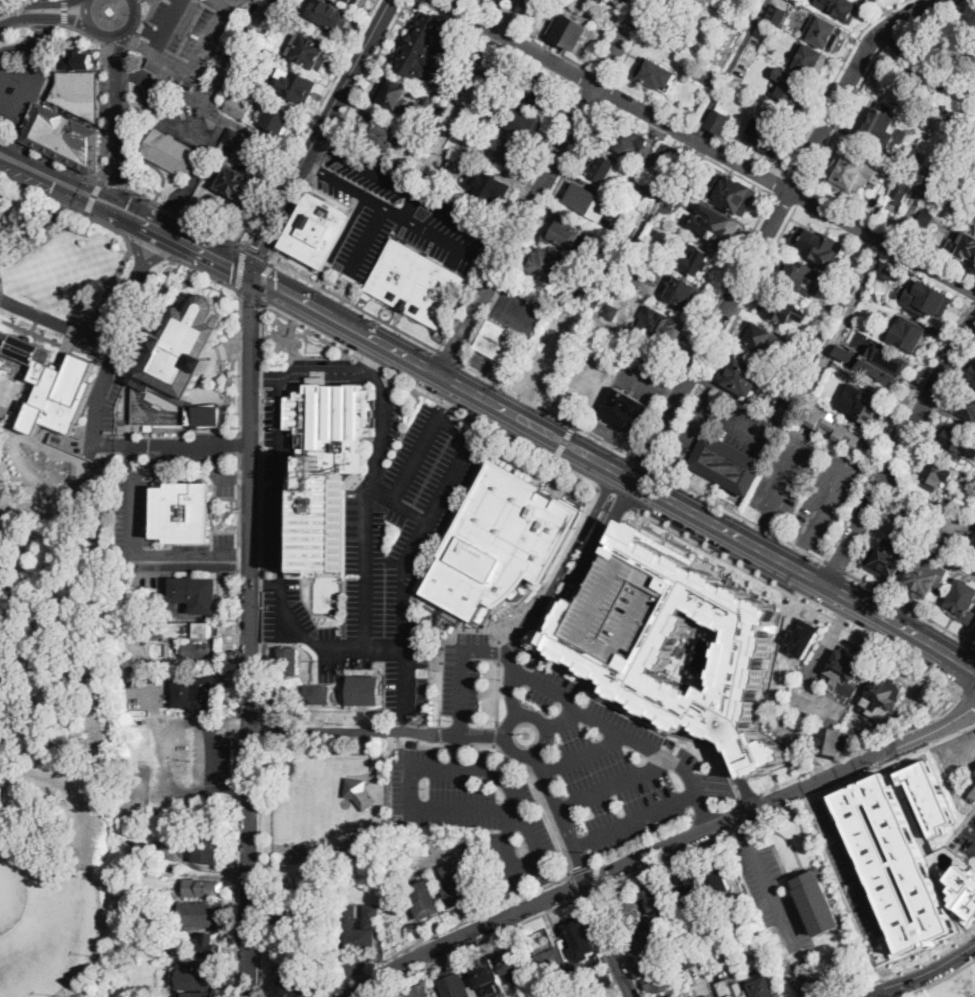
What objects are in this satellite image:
road: (1, 0)
road: (228, 0)
building: (603, 0)
building: (708, 0)
building: (355, 1)
building: (504, 1)
building: (599, 1)
building: (758, 1)
building: (878, 1)
road: (43, 2)
road: (153, 2)
building: (527, 3)
road: (39, 4)
building: (280, 6)
building: (840, 9)
road: (151, 10)
road: (65, 12)
building: (328, 14)
road: (507, 16)
road: (43, 17)
building: (773, 19)
road: (43, 25)
road: (15, 26)
road: (141, 27)
road: (147, 30)
building: (825, 31)
building: (571, 32)
building: (763, 32)
park: (909, 32)
road: (43, 33)
road: (608, 33)
road: (920, 34)
road: (88, 35)
road: (110, 36)
road: (633, 40)
park: (956, 44)
road: (119, 47)
building: (426, 47)
road: (19, 52)
building: (311, 53)
building: (751, 54)
road: (236, 55)
road: (127, 56)
road: (116, 57)
building: (78, 60)
building: (812, 61)
road: (183, 66)
road: (729, 69)
road: (866, 69)
road: (919, 70)
building: (248, 71)
road: (129, 73)
building: (656, 74)
building: (498, 75)
building: (704, 75)
road: (584, 77)
parking lot: (24, 79)
road: (832, 80)
building: (294, 86)
building: (792, 87)
road: (23, 90)
building: (540, 90)
building: (79, 91)
road: (607, 91)
building: (392, 93)
building: (427, 98)
building: (238, 108)
building: (278, 117)
building: (523, 121)
road: (106, 122)
road: (309, 122)
building: (719, 122)
building: (884, 127)
road: (336, 129)
road: (117, 130)
building: (376, 132)
road: (126, 134)
road: (318, 135)
road: (266, 137)
building: (623, 137)
building: (767, 137)
building: (234, 138)
building: (67, 139)
road: (213, 139)
building: (423, 143)
road: (707, 146)
building: (973, 150)
building: (171, 152)
building: (503, 152)
building: (667, 154)
road: (54, 158)
building: (917, 163)
building: (693, 165)
road: (932, 167)
building: (603, 168)
road: (734, 171)
building: (851, 173)
road: (794, 180)
building: (942, 180)
building: (972, 180)
building: (237, 182)
road: (82, 183)
traffic signals: (54, 184)
road: (119, 184)
road: (779, 184)
building: (489, 185)
road: (665, 185)
road: (344, 186)
road: (541, 186)
road: (186, 188)
road: (821, 192)
building: (901, 192)
road: (801, 194)
road: (411, 195)
building: (733, 195)
road: (79, 196)
road: (94, 196)
road: (785, 198)
building: (884, 198)
building: (945, 200)
road: (64, 202)
building: (590, 202)
traffic signals: (128, 205)
road: (185, 216)
road: (507, 217)
building: (926, 218)
building: (715, 224)
building: (952, 225)
road: (769, 227)
building: (318, 230)
road: (530, 230)
building: (563, 231)
road: (432, 234)
road: (368, 241)
road: (138, 244)
road: (149, 244)
building: (820, 246)
building: (650, 247)
building: (964, 247)
building: (621, 248)
road: (161, 250)
road: (206, 252)
road: (255, 252)
building: (580, 252)
building: (696, 260)
road: (487, 265)
building: (550, 266)
road: (240, 268)
building: (586, 270)
building: (887, 270)
road: (204, 272)
traffic signals: (253, 275)
building: (792, 275)
road: (117, 277)
road: (264, 281)
building: (417, 283)
road: (2, 289)
building: (683, 295)
road: (493, 296)
building: (596, 297)
road: (252, 298)
road: (974, 298)
building: (926, 299)
road: (352, 302)
road: (306, 303)
road: (851, 304)
building: (778, 307)
road: (520, 311)
building: (612, 314)
road: (117, 318)
road: (55, 319)
road: (592, 319)
road: (702, 324)
building: (663, 329)
road: (30, 330)
road: (724, 334)
building: (907, 334)
building: (818, 339)
building: (763, 340)
building: (503, 343)
road: (651, 349)
building: (183, 350)
road: (400, 352)
building: (845, 352)
road: (449, 355)
building: (812, 356)
road: (15, 361)
road: (240, 361)
building: (886, 365)
road: (358, 369)
building: (840, 371)
road: (316, 373)
road: (644, 374)
building: (744, 377)
building: (972, 377)
road: (280, 378)
building: (51, 384)
road: (671, 389)
road: (448, 396)
road: (431, 397)
road: (521, 402)
building: (966, 405)
road: (750, 406)
road: (546, 409)
building: (867, 409)
building: (627, 411)
road: (387, 425)
road: (694, 425)
building: (834, 426)
road: (895, 427)
road: (239, 442)
building: (957, 442)
road: (563, 443)
road: (129, 444)
road: (241, 444)
road: (900, 450)
road: (829, 452)
road: (910, 456)
road: (660, 458)
building: (326, 460)
road: (643, 461)
building: (728, 464)
road: (866, 471)
building: (936, 475)
road: (787, 479)
road: (603, 491)
road: (612, 497)
road: (930, 501)
road: (827, 502)
road: (624, 503)
road: (691, 511)
building: (184, 512)
road: (262, 512)
road: (740, 513)
parking lot: (903, 519)
road: (427, 520)
road: (899, 522)
road: (605, 529)
road: (758, 531)
building: (502, 542)
road: (128, 550)
road: (241, 552)
road: (799, 554)
building: (888, 558)
road: (564, 561)
road: (593, 565)
road: (836, 567)
building: (926, 577)
road: (266, 583)
park: (60, 593)
building: (197, 594)
road: (799, 597)
road: (239, 599)
road: (403, 602)
building: (964, 602)
parking garage: (622, 606)
road: (912, 608)
building: (451, 615)
building: (183, 630)
road: (305, 631)
road: (250, 636)
building: (804, 638)
building: (672, 641)
road: (442, 644)
building: (189, 650)
road: (500, 651)
road: (818, 655)
building: (289, 661)
road: (958, 664)
road: (462, 667)
building: (845, 669)
road: (401, 681)
road: (512, 683)
building: (364, 690)
building: (197, 692)
road: (499, 692)
building: (281, 695)
building: (319, 695)
building: (881, 697)
road: (968, 697)
road: (75, 718)
road: (512, 718)
road: (562, 719)
road: (260, 728)
road: (377, 732)
road: (440, 733)
road: (496, 734)
road: (624, 737)
building: (830, 740)
road: (405, 742)
road: (459, 743)
road: (249, 746)
road: (953, 747)
road: (583, 754)
road: (845, 756)
road: (613, 785)
road: (538, 787)
building: (358, 793)
building: (931, 793)
building: (971, 793)
road: (785, 807)
road: (513, 809)
road: (508, 812)
road: (706, 815)
road: (560, 818)
road: (634, 819)
road: (741, 830)
building: (207, 843)
road: (644, 843)
road: (970, 844)
road: (660, 850)
road: (849, 853)
building: (893, 862)
road: (260, 866)
road: (584, 867)
road: (236, 871)
building: (166, 872)
road: (597, 876)
building: (716, 878)
building: (285, 883)
building: (458, 884)
road: (575, 884)
building: (693, 885)
building: (966, 885)
building: (209, 888)
road: (587, 893)
road: (771, 898)
building: (425, 899)
building: (817, 899)
building: (661, 901)
building: (200, 913)
building: (630, 913)
building: (283, 920)
park: (45, 926)
building: (360, 927)
building: (326, 929)
road: (446, 929)
building: (647, 933)
building: (153, 934)
road: (610, 939)
building: (582, 941)
road: (472, 943)
road: (620, 943)
building: (757, 946)
building: (209, 947)
road: (600, 947)
building: (544, 948)
building: (673, 952)
building: (645, 958)
building: (308, 959)
building: (692, 960)
building: (514, 964)
building: (552, 964)
building: (806, 973)
road: (903, 973)
road: (919, 976)
building: (599, 977)
building: (204, 978)
building: (489, 979)
building: (659, 979)
road: (937, 981)
building: (454, 984)
road: (247, 986)
building: (289, 986)
building: (763, 988)
building: (421, 991)
building: (738, 991)
building: (555, 993)
building: (202, 994)
road: (877, 994)
building: (573, 996)

